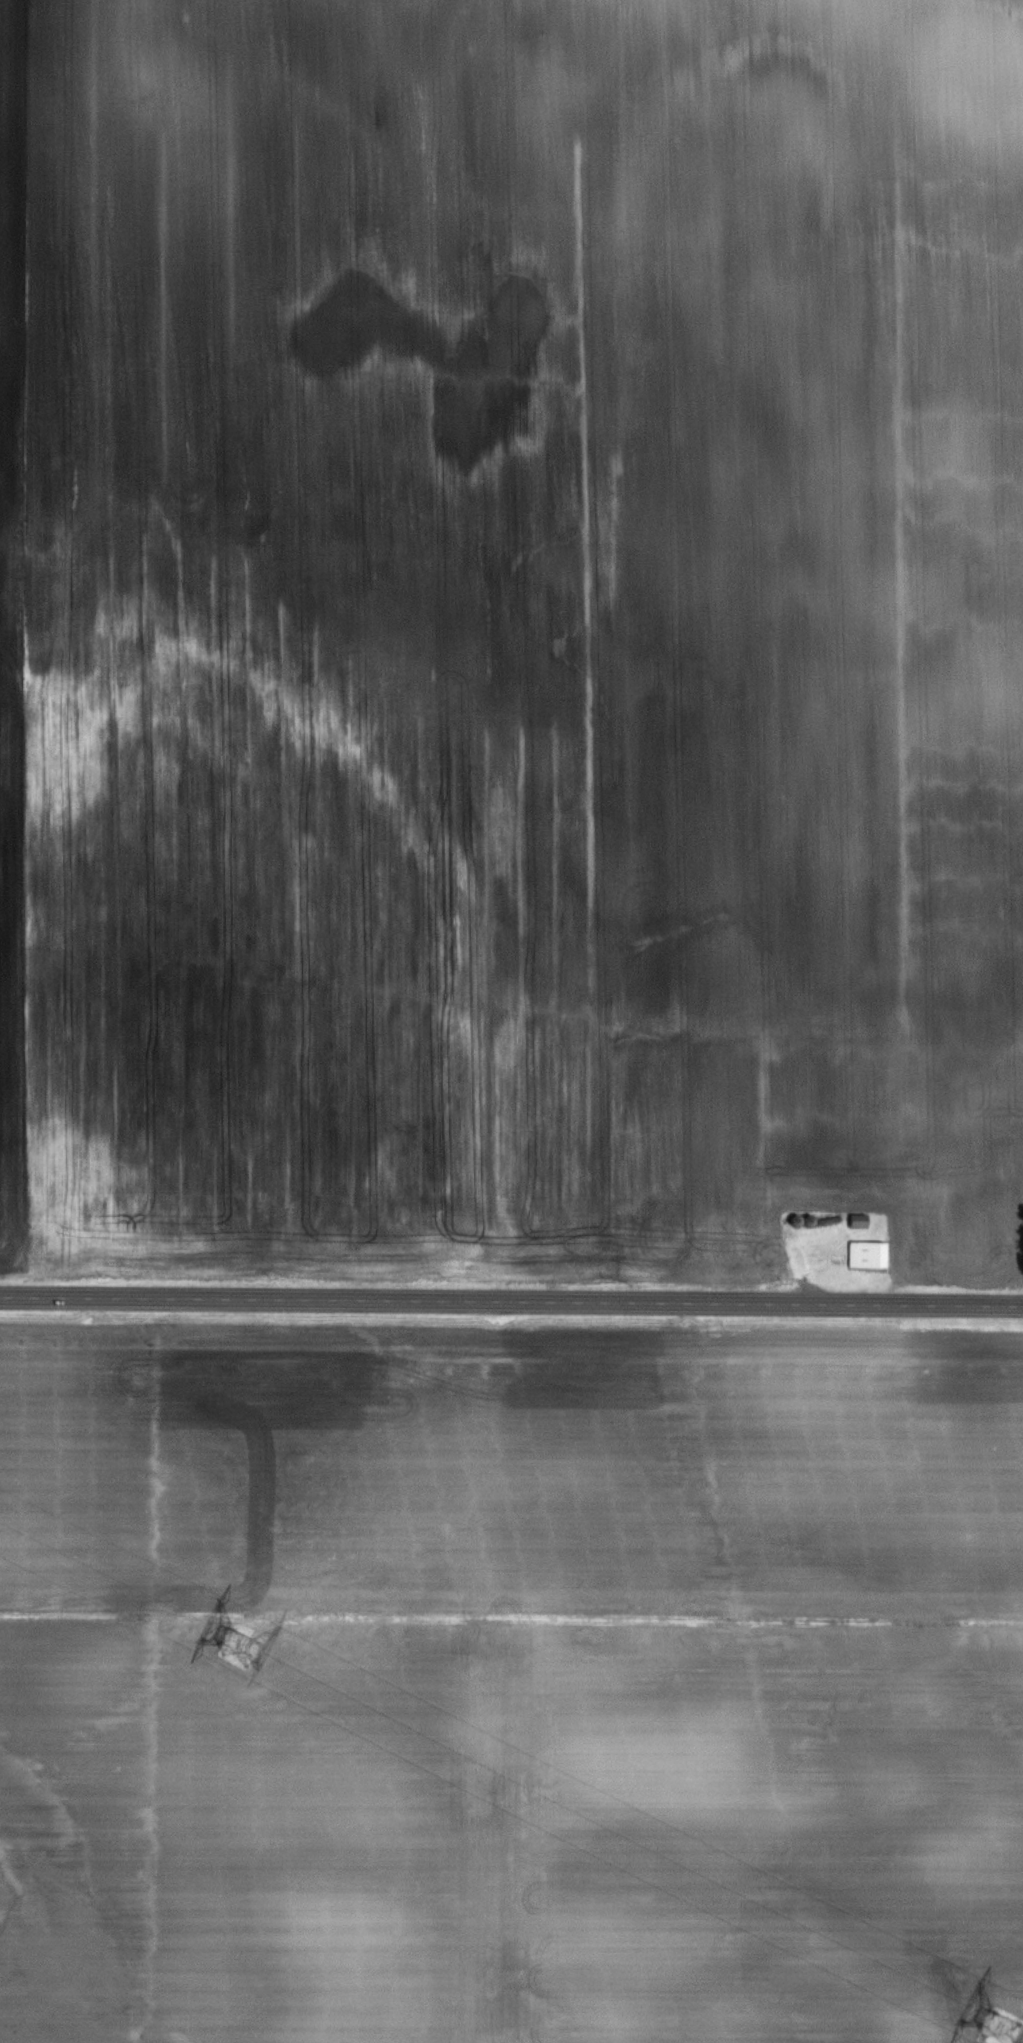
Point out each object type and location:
building: (859, 1221)
building: (868, 1255)
road: (511, 1301)
power tower: (240, 1648)
power tower: (995, 2031)

